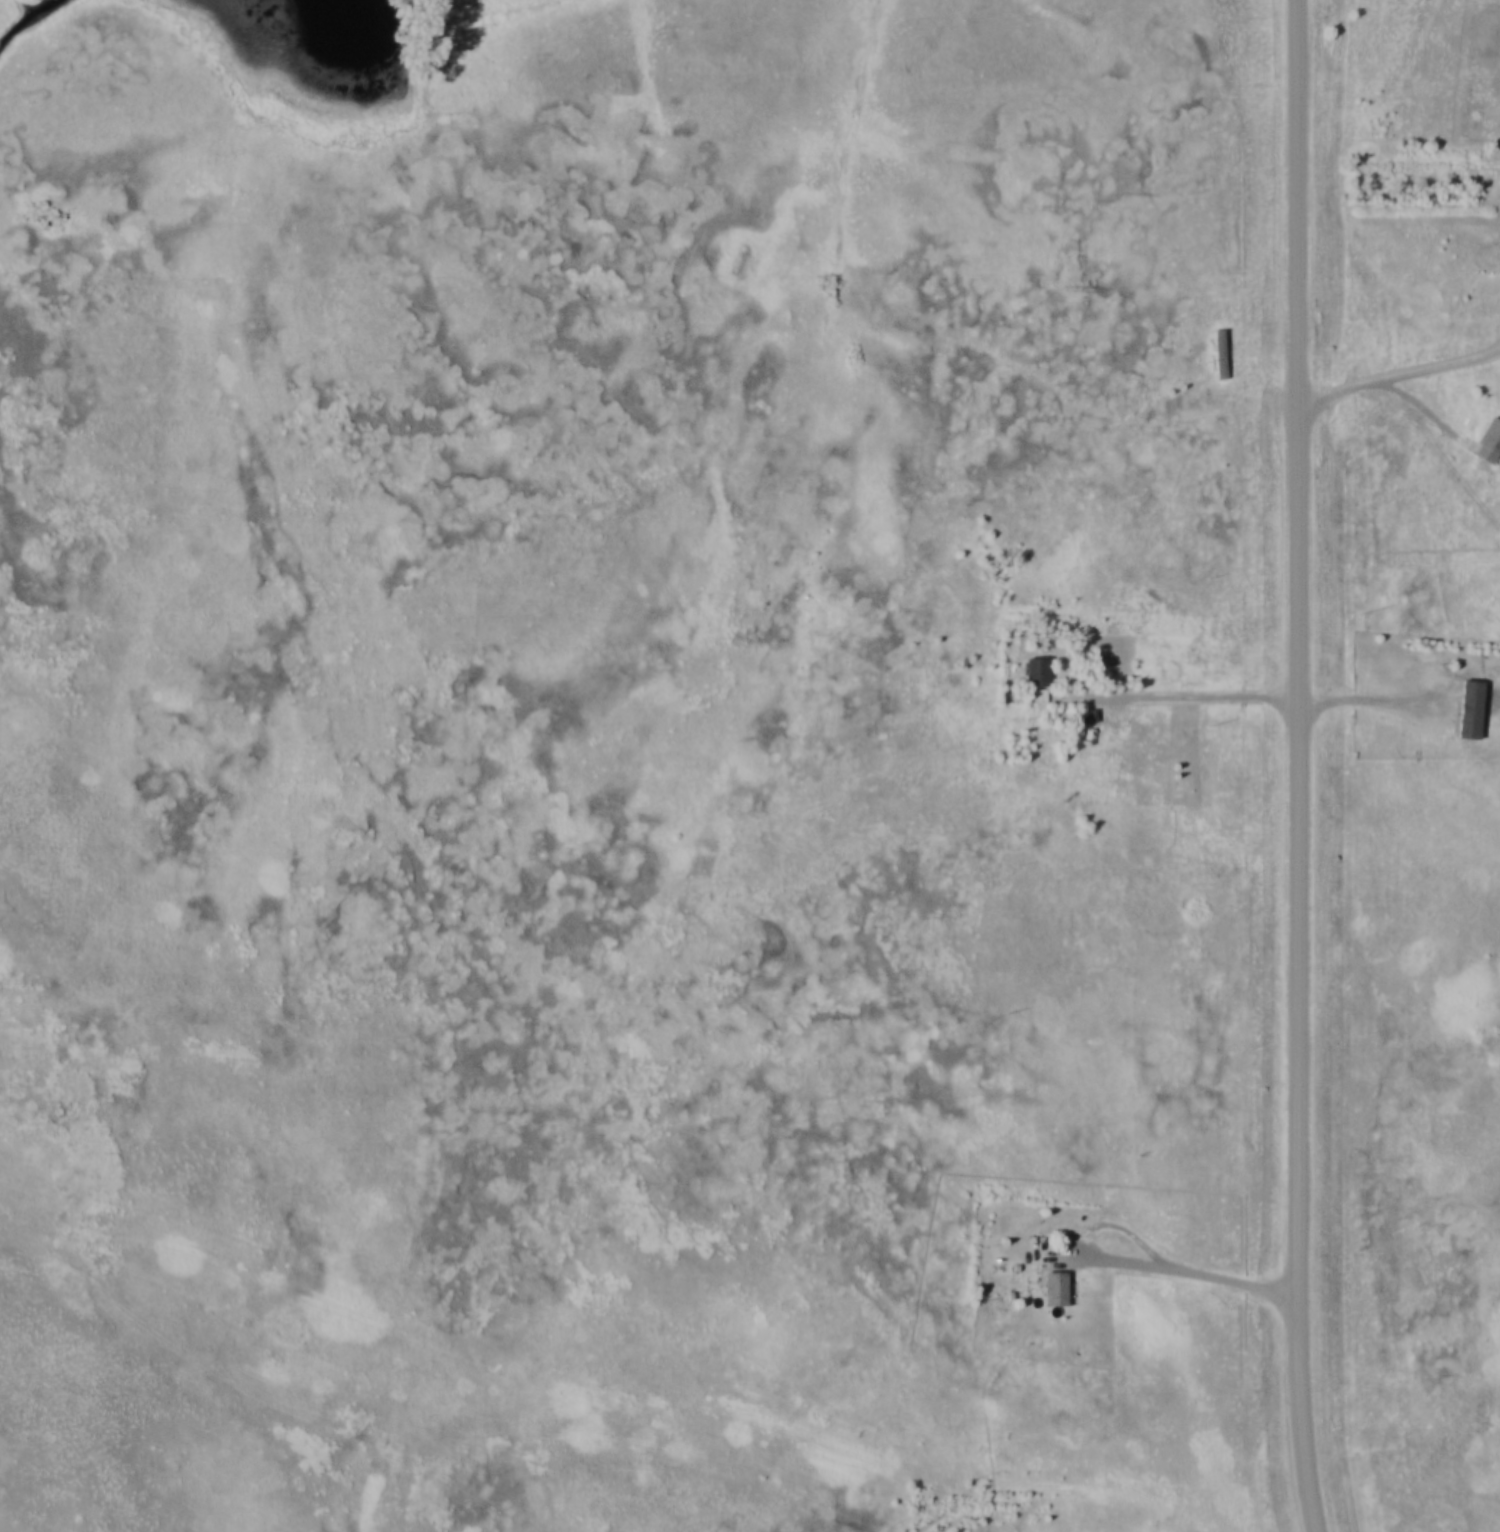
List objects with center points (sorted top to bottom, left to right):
road: (1298, 205)
building: (1216, 341)
road: (1393, 361)
building: (1485, 430)
building: (1030, 660)
building: (1037, 681)
road: (1193, 683)
building: (1476, 688)
building: (1085, 705)
road: (1400, 712)
building: (1088, 717)
road: (1301, 972)
road: (1175, 1266)
building: (1048, 1278)
building: (1058, 1289)
road: (257, 1401)

